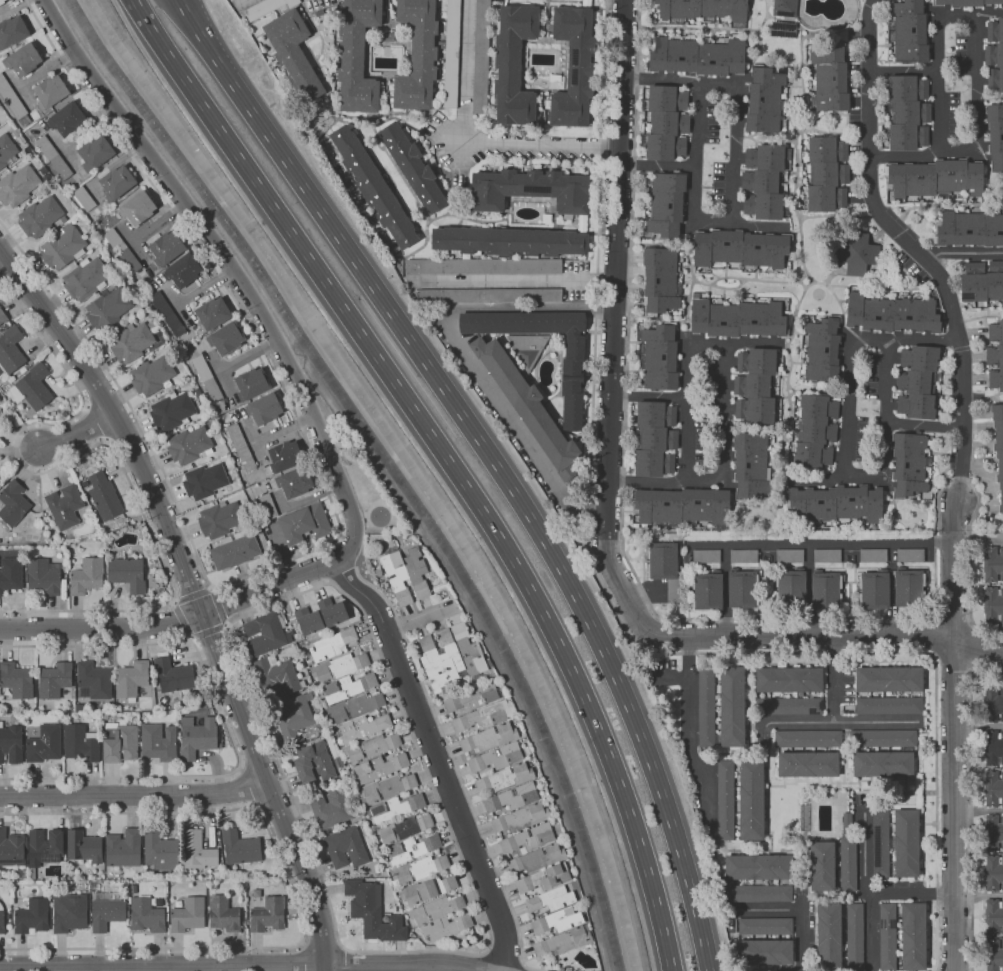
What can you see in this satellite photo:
building: (1, 2)
building: (586, 3)
building: (966, 3)
building: (267, 8)
building: (785, 8)
building: (703, 10)
road: (707, 26)
building: (783, 30)
building: (908, 31)
building: (12, 32)
road: (835, 34)
road: (201, 37)
building: (388, 37)
road: (977, 47)
building: (451, 53)
road: (800, 53)
building: (994, 55)
building: (296, 56)
building: (357, 56)
building: (418, 56)
building: (697, 56)
road: (752, 56)
building: (481, 57)
building: (23, 60)
building: (514, 64)
building: (574, 67)
road: (902, 70)
road: (464, 71)
building: (831, 79)
building: (50, 92)
building: (765, 100)
building: (13, 101)
building: (908, 113)
building: (67, 119)
building: (666, 123)
road: (825, 131)
building: (995, 136)
road: (541, 147)
building: (6, 149)
building: (95, 153)
building: (53, 158)
building: (413, 166)
road: (658, 166)
building: (519, 169)
building: (826, 174)
road: (795, 178)
building: (935, 178)
road: (736, 181)
building: (765, 182)
building: (781, 182)
building: (117, 183)
building: (17, 186)
building: (373, 187)
building: (531, 190)
building: (84, 199)
building: (666, 203)
building: (137, 208)
building: (40, 217)
building: (63, 219)
building: (547, 219)
building: (582, 224)
building: (968, 229)
building: (508, 241)
road: (671, 241)
building: (63, 247)
building: (166, 248)
road: (914, 248)
building: (741, 249)
building: (122, 250)
building: (857, 253)
road: (964, 253)
road: (689, 260)
road: (630, 265)
building: (483, 266)
road: (232, 269)
building: (183, 271)
road: (805, 273)
road: (725, 276)
road: (513, 278)
building: (85, 279)
road: (772, 280)
building: (660, 281)
building: (982, 282)
building: (490, 295)
road: (841, 308)
building: (108, 309)
road: (688, 311)
building: (894, 313)
building: (167, 314)
building: (212, 314)
road: (658, 316)
building: (2, 317)
building: (737, 319)
road: (613, 330)
building: (226, 339)
building: (131, 343)
building: (541, 347)
building: (823, 349)
building: (11, 350)
road: (247, 355)
building: (995, 355)
road: (466, 356)
building: (659, 357)
building: (23, 370)
road: (219, 372)
building: (152, 376)
building: (207, 379)
road: (732, 382)
building: (917, 382)
building: (251, 384)
building: (755, 386)
building: (33, 387)
road: (786, 388)
building: (198, 393)
road: (650, 396)
building: (0, 407)
building: (528, 407)
building: (0, 408)
building: (264, 409)
building: (172, 411)
road: (924, 426)
road: (282, 428)
road: (76, 431)
building: (815, 431)
building: (655, 439)
road: (255, 441)
road: (101, 442)
building: (998, 445)
building: (190, 446)
building: (241, 448)
building: (284, 456)
road: (451, 460)
building: (909, 464)
building: (193, 465)
building: (751, 466)
park: (361, 477)
road: (821, 477)
road: (877, 477)
building: (205, 481)
building: (295, 482)
building: (104, 497)
road: (517, 497)
building: (247, 503)
building: (13, 504)
building: (836, 504)
building: (65, 506)
building: (268, 506)
road: (333, 506)
building: (682, 506)
building: (220, 520)
building: (305, 524)
building: (40, 528)
building: (49, 539)
road: (821, 543)
building: (235, 550)
building: (107, 554)
building: (872, 554)
building: (909, 554)
building: (705, 555)
building: (743, 555)
building: (788, 555)
building: (826, 555)
building: (662, 560)
building: (992, 563)
building: (10, 574)
building: (127, 574)
building: (405, 574)
building: (44, 576)
building: (87, 576)
building: (790, 587)
road: (212, 588)
building: (741, 588)
building: (908, 588)
road: (809, 590)
building: (825, 590)
building: (874, 590)
building: (707, 591)
road: (725, 591)
road: (968, 591)
road: (193, 595)
road: (194, 597)
road: (173, 602)
building: (993, 604)
road: (218, 606)
road: (263, 608)
building: (331, 611)
road: (853, 617)
road: (183, 619)
building: (308, 620)
road: (171, 622)
road: (226, 625)
road: (623, 627)
road: (208, 629)
building: (265, 635)
road: (190, 636)
road: (809, 636)
building: (332, 644)
road: (977, 649)
building: (468, 650)
building: (439, 658)
building: (339, 666)
building: (173, 676)
building: (274, 676)
road: (676, 677)
building: (132, 678)
building: (890, 679)
building: (17, 680)
building: (54, 680)
building: (789, 680)
building: (93, 681)
building: (350, 685)
building: (993, 704)
building: (731, 705)
building: (789, 705)
building: (888, 705)
building: (706, 707)
building: (80, 708)
building: (136, 715)
building: (143, 715)
building: (359, 716)
road: (836, 716)
building: (293, 717)
building: (481, 717)
road: (788, 719)
road: (227, 725)
road: (953, 735)
building: (197, 737)
building: (806, 737)
building: (883, 737)
road: (689, 738)
building: (158, 742)
building: (11, 743)
building: (81, 743)
building: (120, 743)
building: (45, 744)
building: (375, 746)
building: (993, 747)
road: (436, 757)
building: (313, 763)
building: (883, 763)
road: (258, 764)
building: (808, 764)
building: (500, 767)
building: (993, 788)
road: (134, 796)
building: (752, 799)
road: (274, 800)
building: (725, 800)
building: (330, 807)
building: (515, 807)
road: (971, 808)
building: (412, 826)
building: (993, 832)
building: (880, 842)
building: (907, 843)
building: (415, 846)
building: (45, 847)
building: (85, 847)
building: (240, 848)
building: (346, 848)
building: (531, 848)
building: (12, 849)
building: (123, 849)
building: (160, 850)
building: (197, 850)
building: (849, 863)
building: (427, 866)
building: (756, 866)
building: (822, 866)
building: (993, 873)
building: (542, 878)
building: (213, 885)
building: (428, 888)
building: (133, 889)
road: (864, 891)
building: (758, 893)
road: (293, 895)
building: (548, 900)
building: (179, 904)
road: (799, 907)
building: (69, 912)
building: (373, 912)
building: (107, 914)
building: (223, 914)
building: (146, 915)
building: (188, 915)
building: (268, 915)
building: (32, 916)
building: (440, 917)
building: (993, 917)
building: (2, 920)
building: (557, 920)
building: (766, 925)
building: (828, 931)
road: (871, 932)
building: (854, 936)
building: (914, 936)
building: (887, 937)
road: (320, 941)
building: (561, 941)
building: (766, 951)
building: (993, 955)
road: (352, 961)
road: (235, 965)

